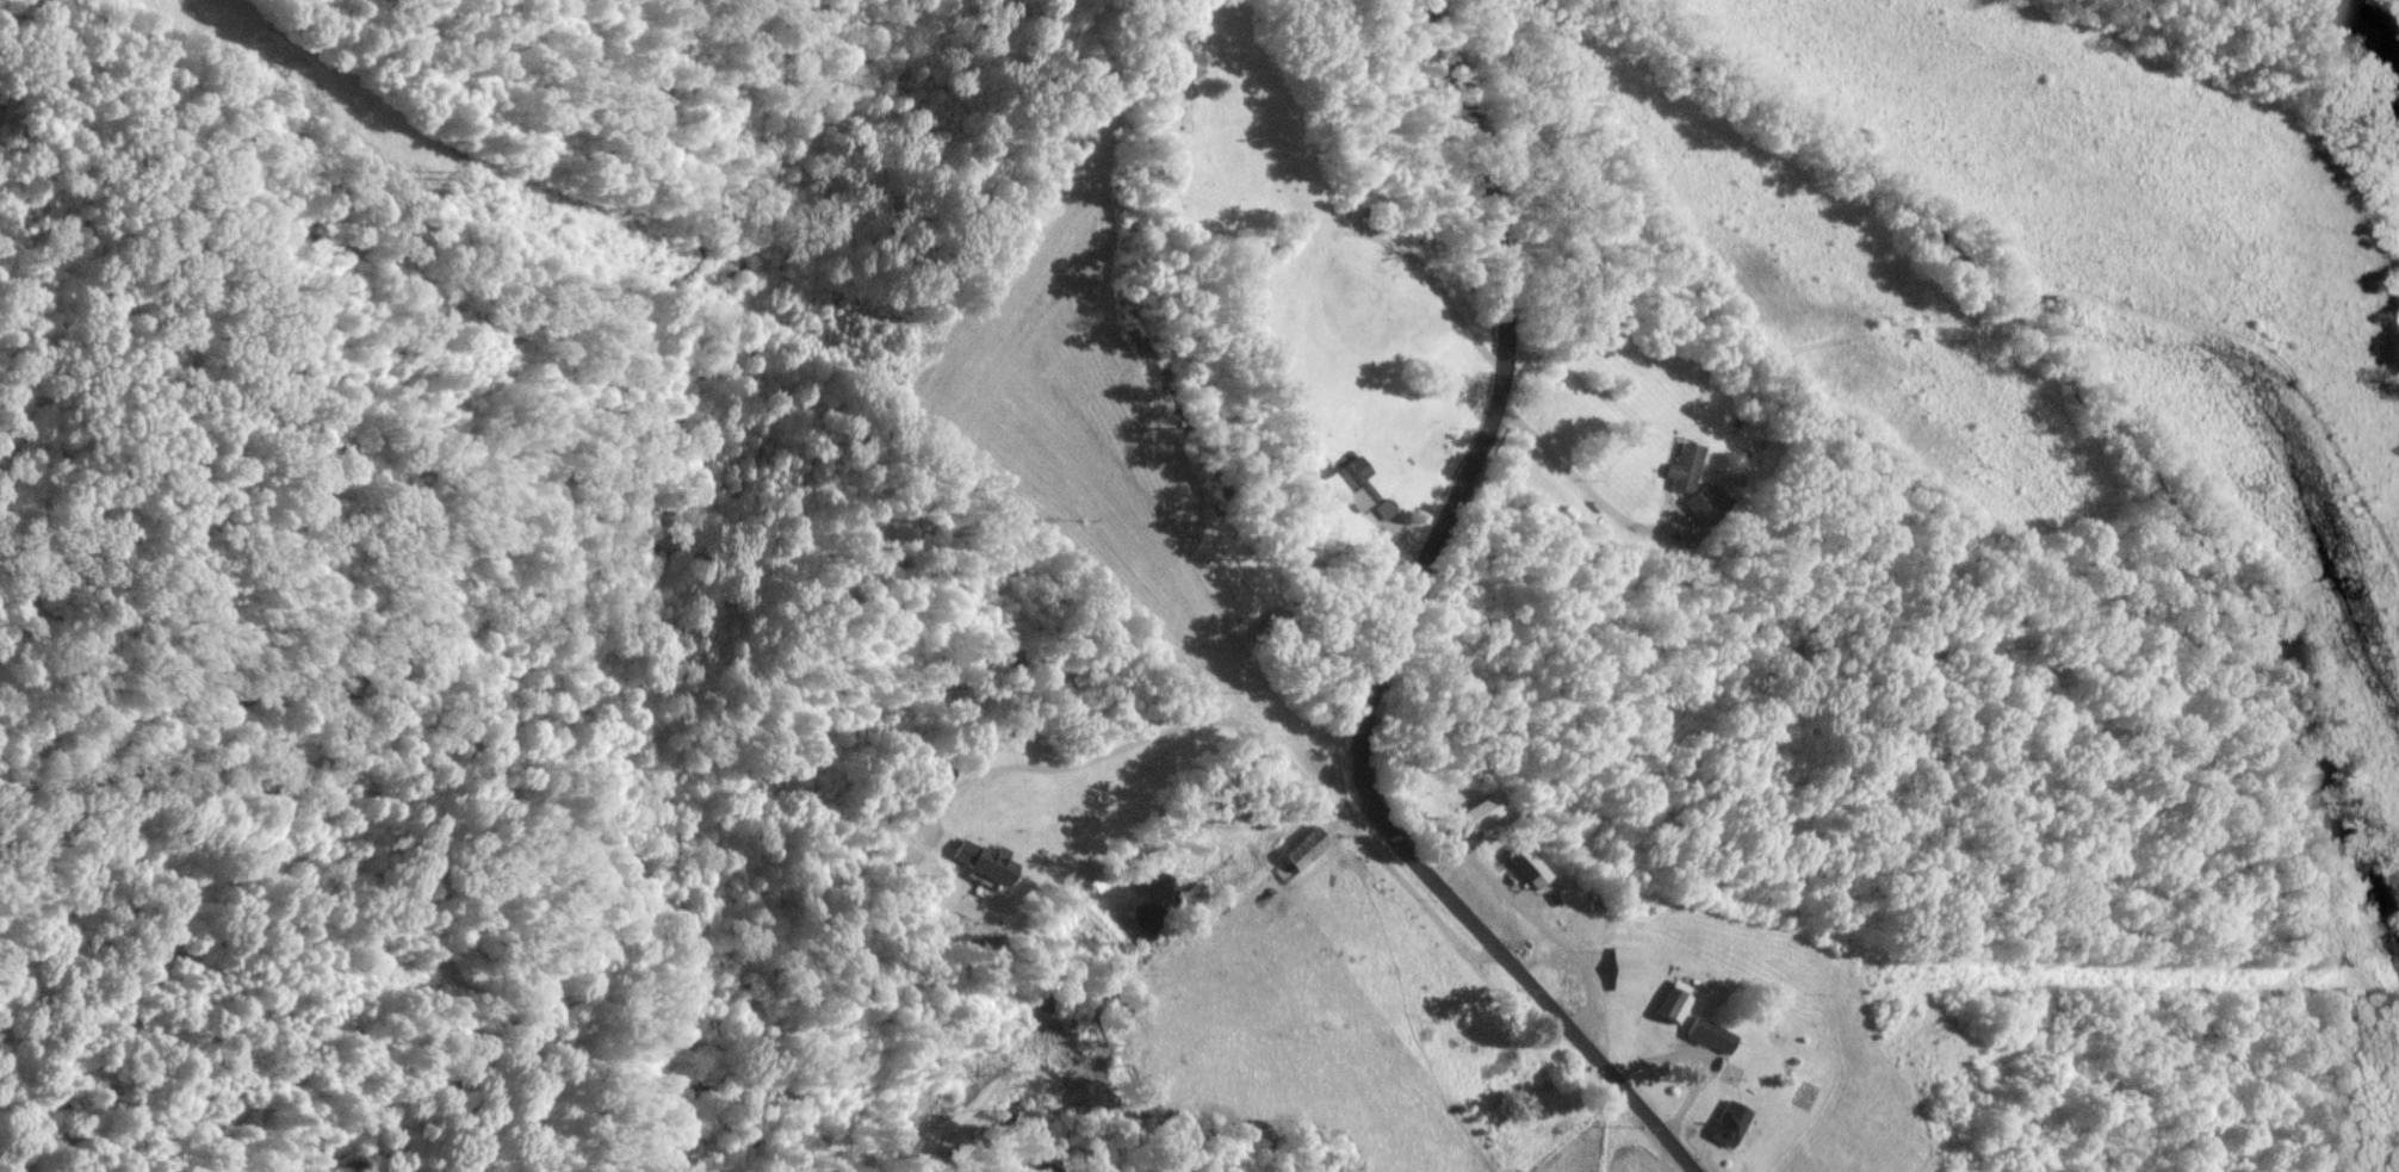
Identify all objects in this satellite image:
river: (2379, 30)
building: (1322, 466)
building: (1684, 466)
building: (1357, 482)
road: (1573, 496)
building: (1703, 503)
building: (1384, 507)
road: (1390, 638)
building: (1476, 812)
building: (1303, 848)
building: (981, 860)
building: (1526, 864)
building: (1623, 967)
power substation: (1575, 968)
building: (1674, 1000)
building: (1709, 1035)
building: (1728, 1123)

